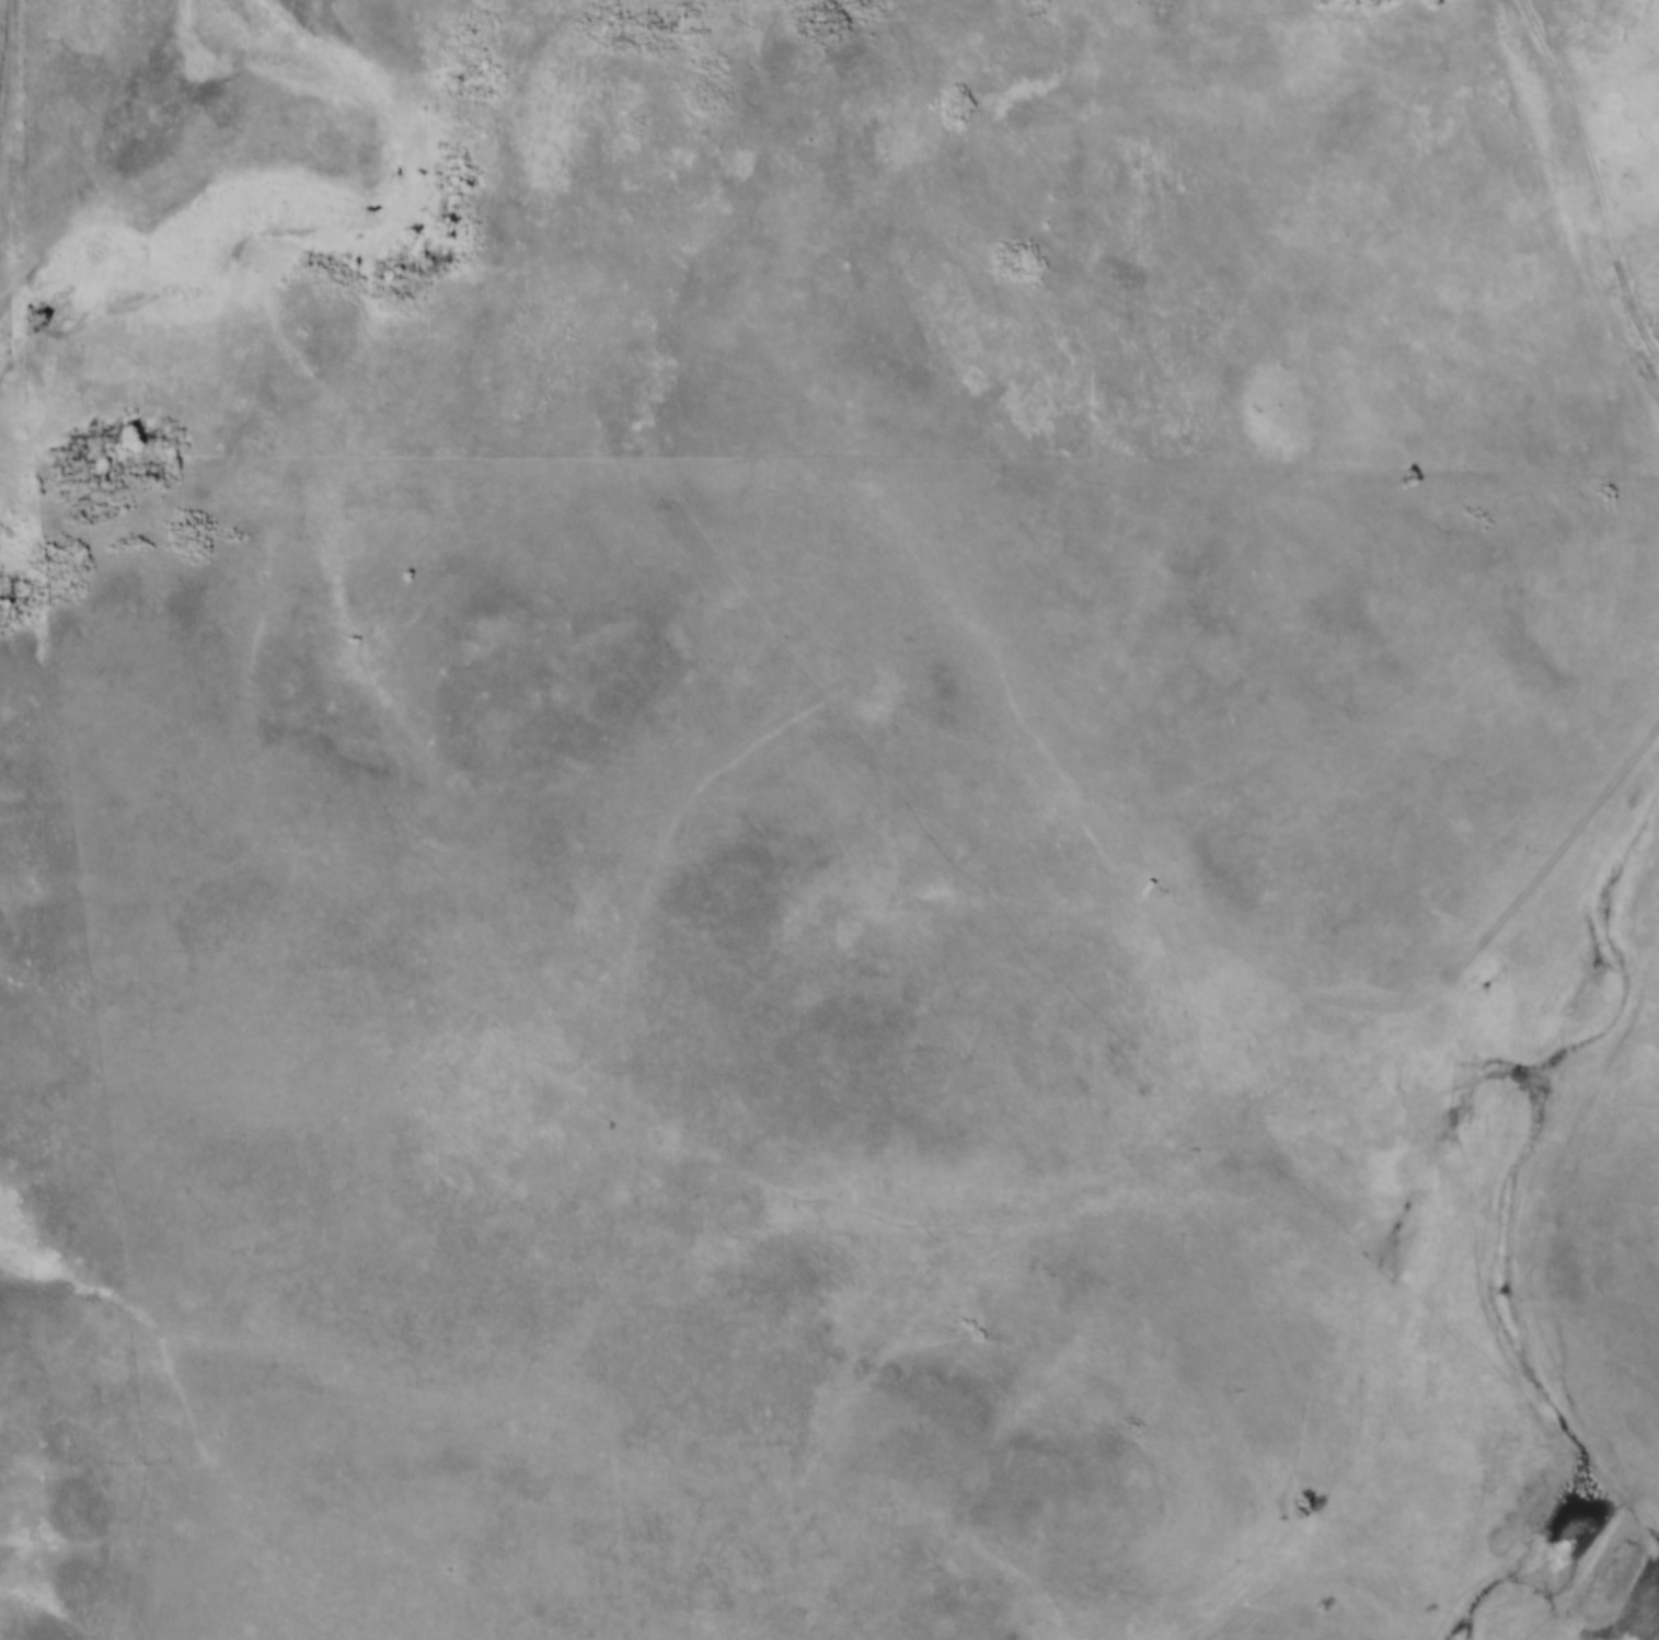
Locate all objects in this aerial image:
road: (1389, 1165)

